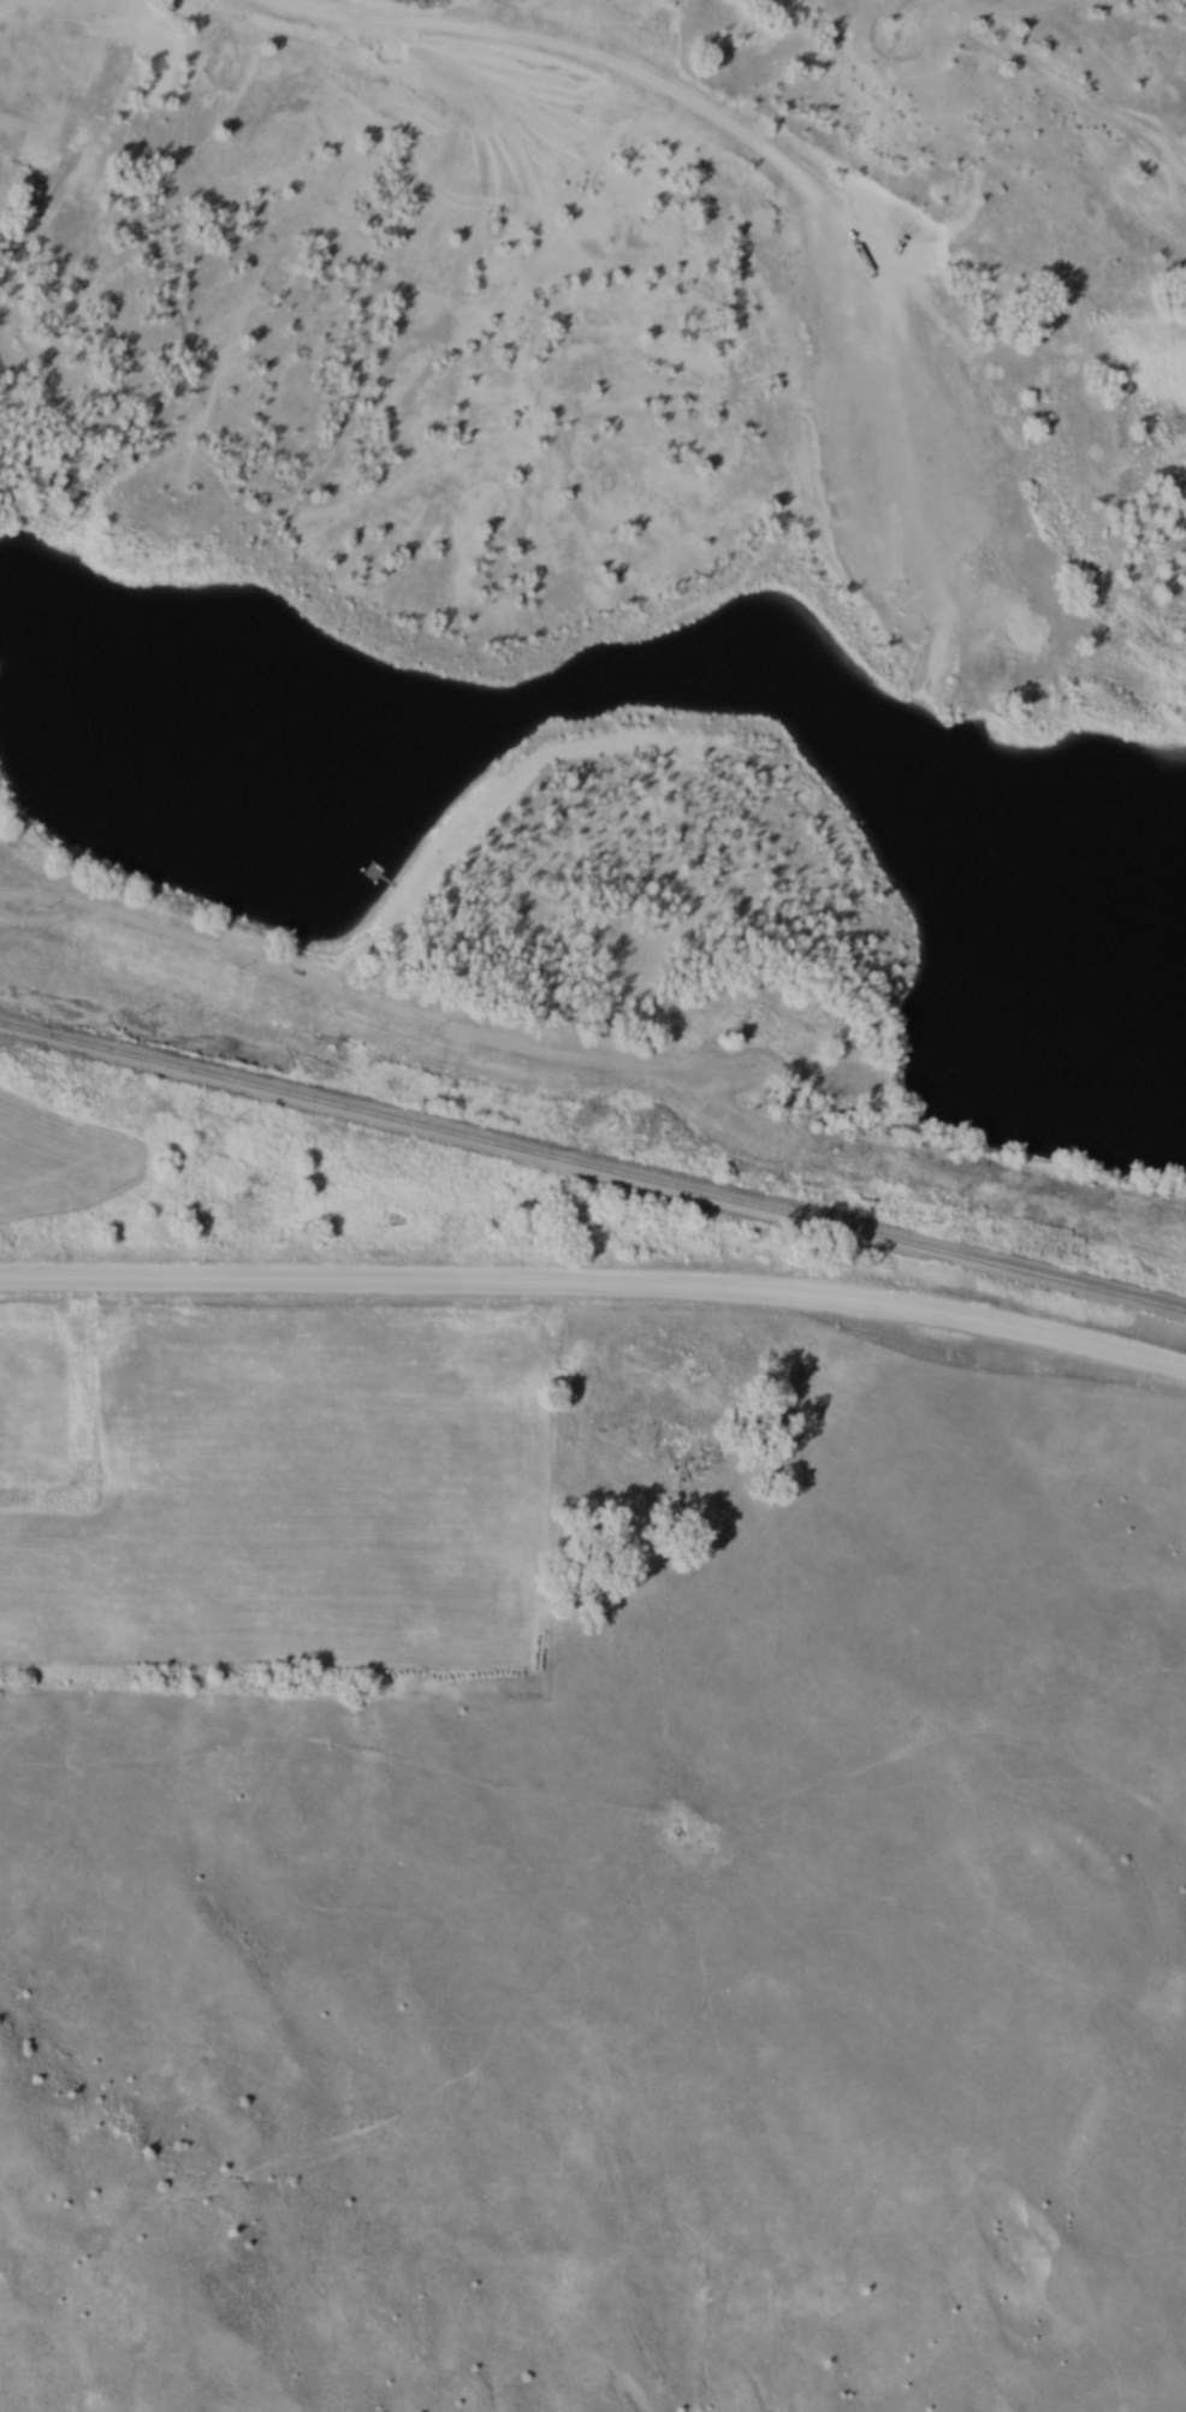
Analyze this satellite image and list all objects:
railway: (593, 1166)
road: (597, 1294)

